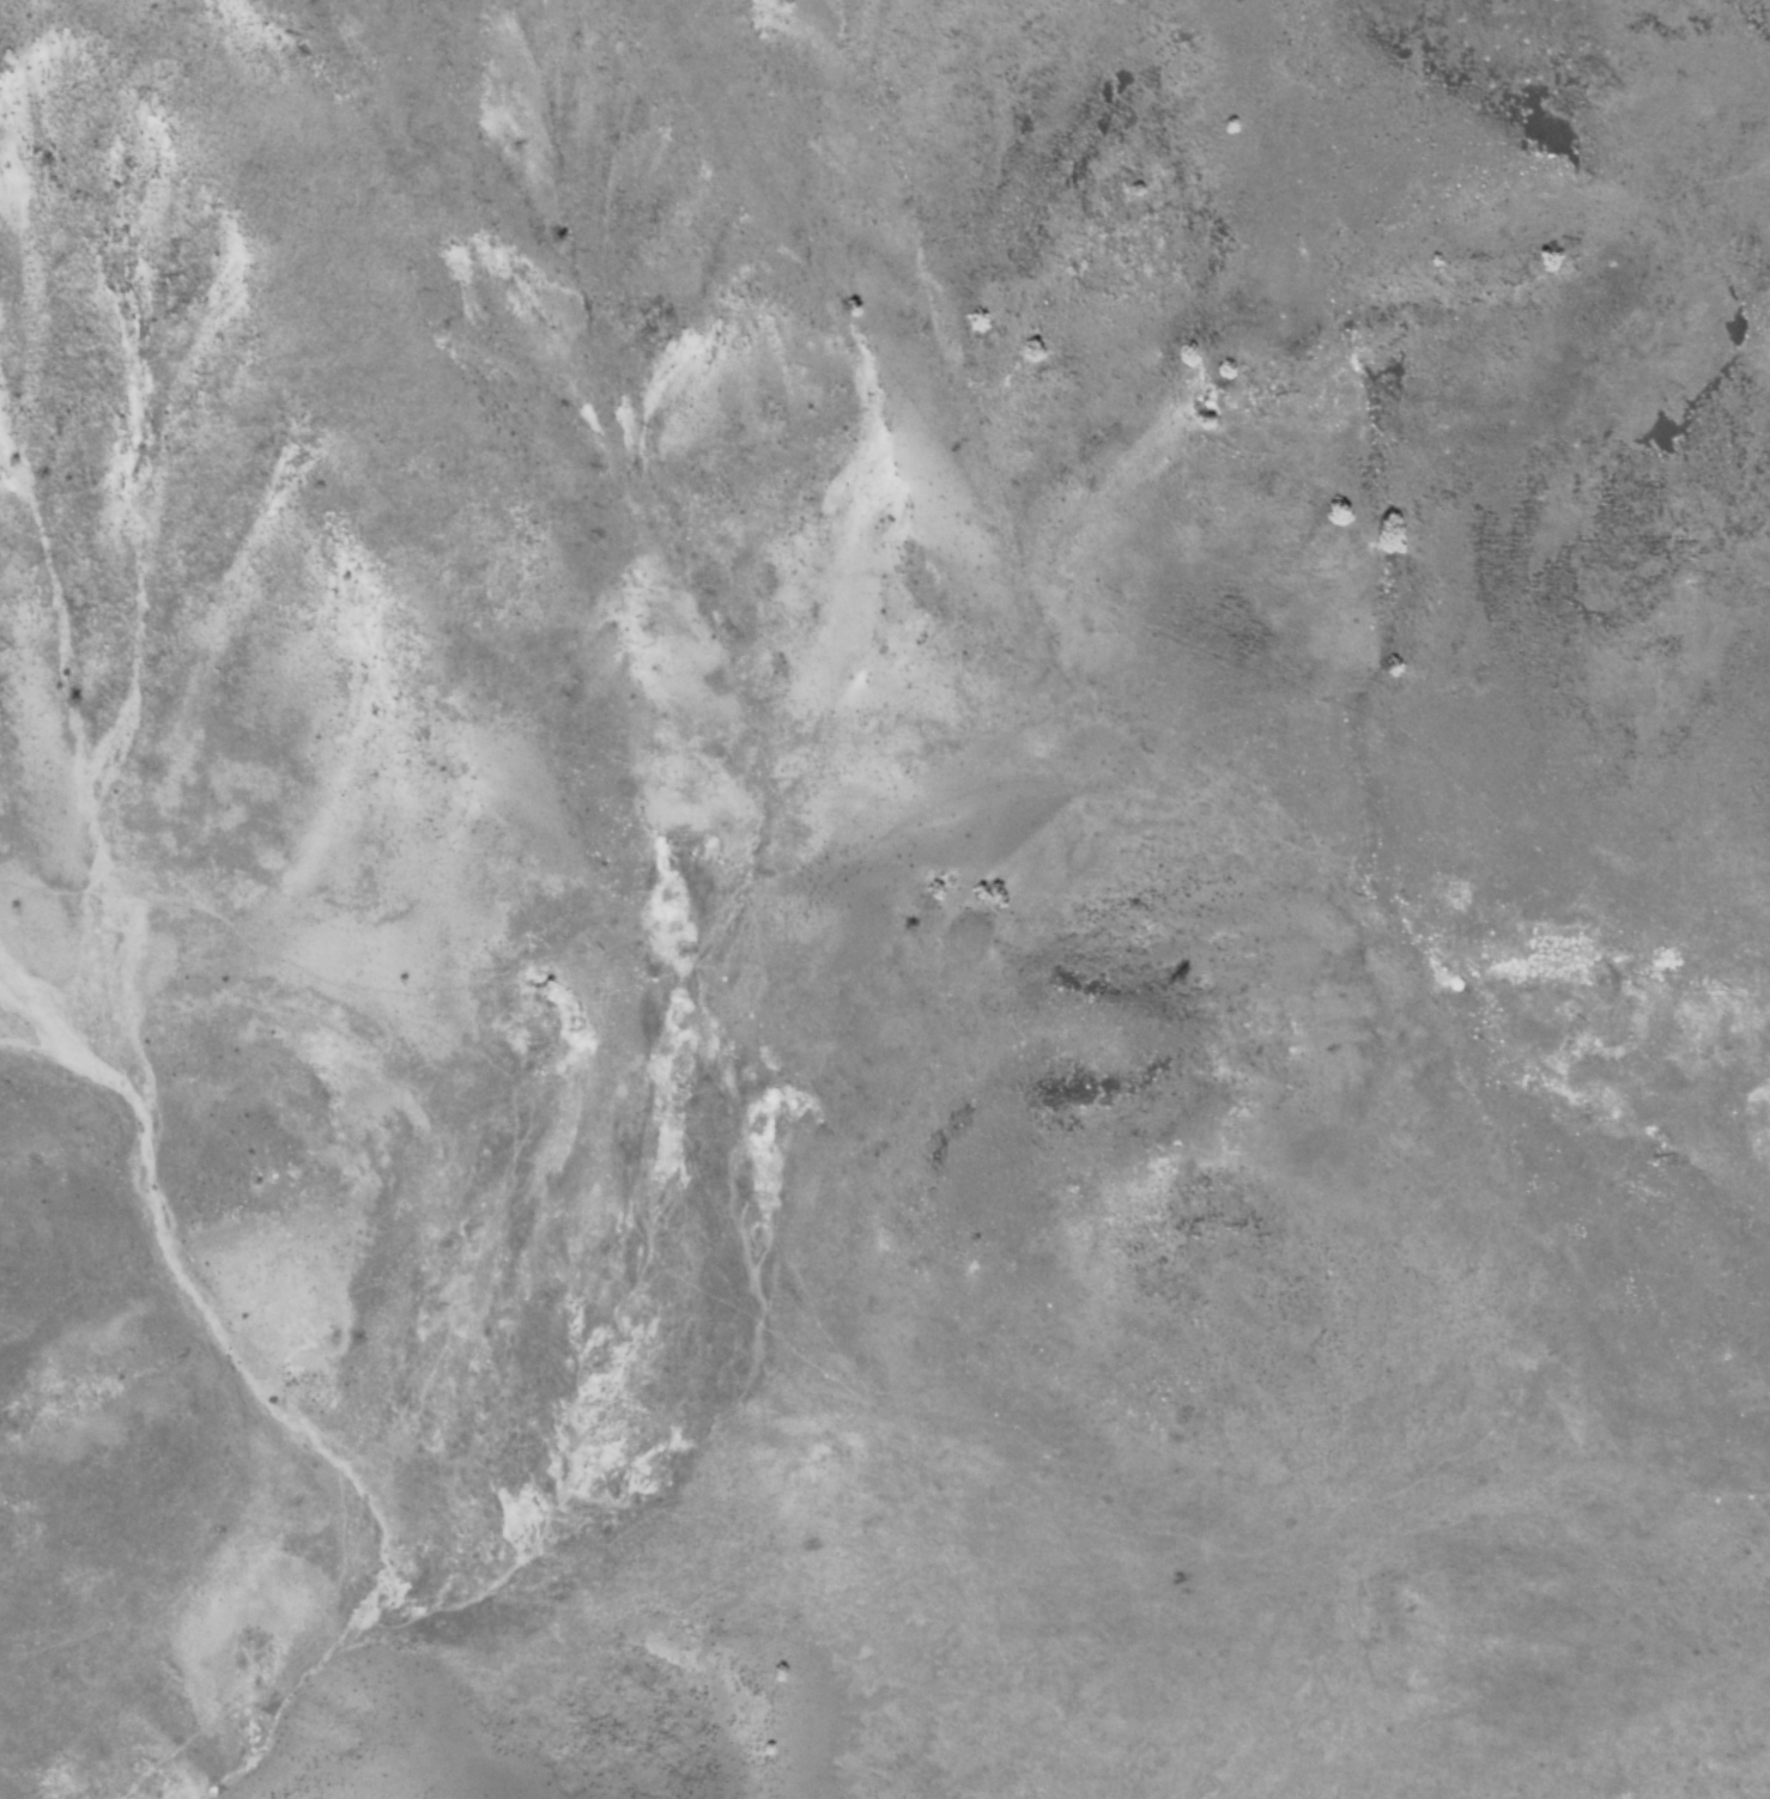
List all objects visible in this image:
road: (489, 1235)

